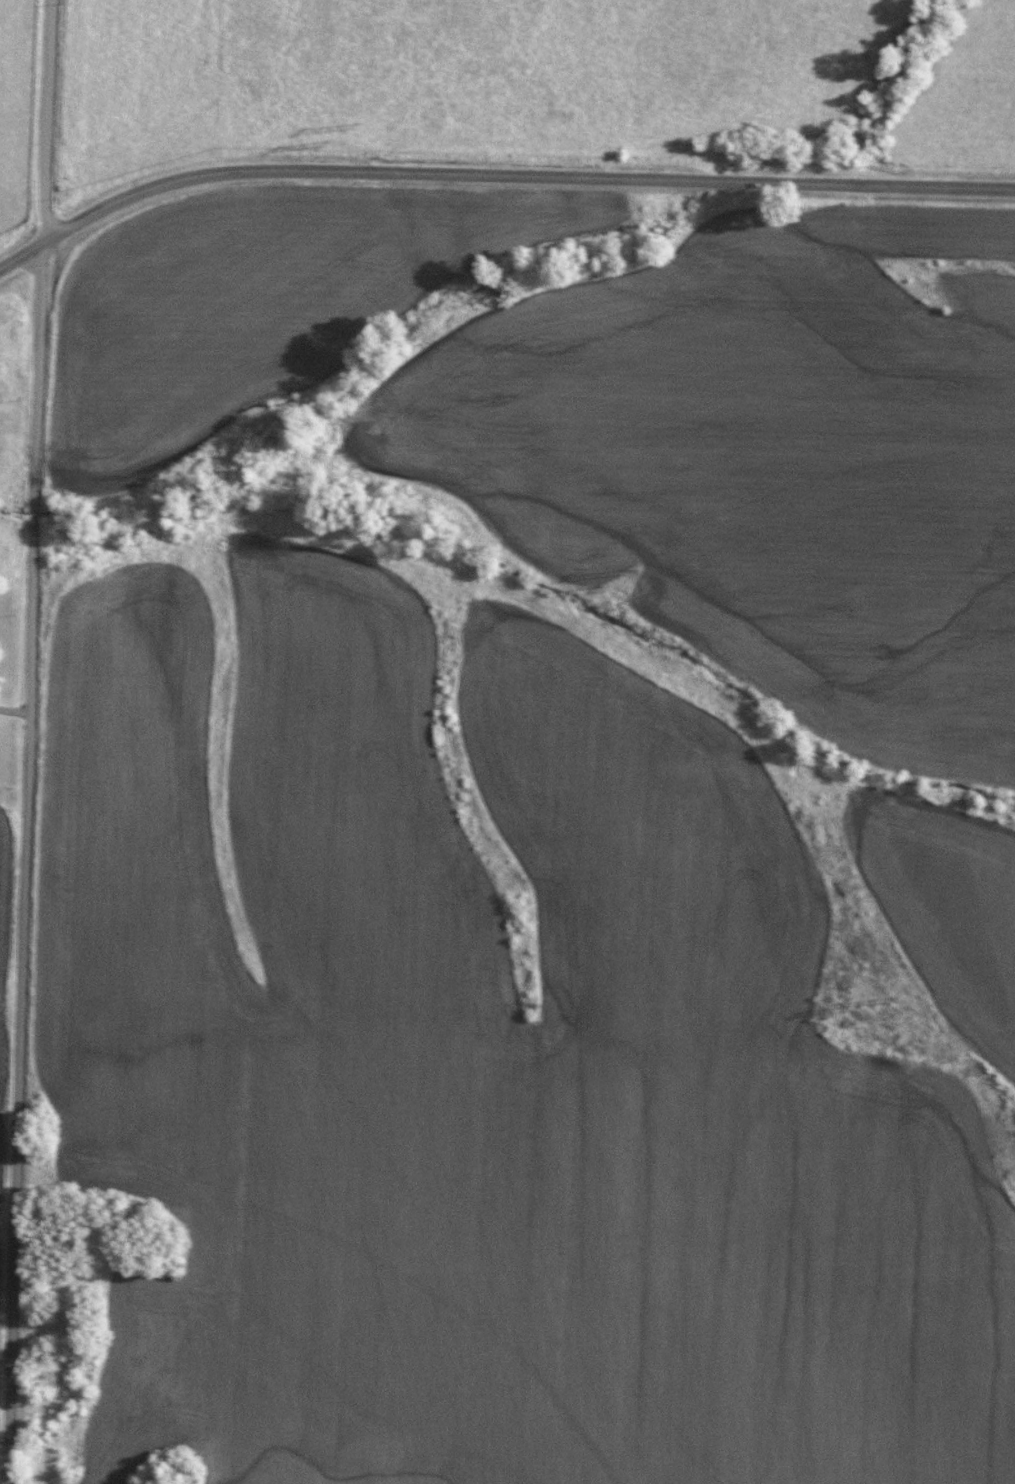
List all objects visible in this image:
road: (45, 121)
power tower: (381, 125)
power tower: (345, 142)
road: (496, 174)
power tower: (632, 567)
power tower: (602, 589)
road: (23, 862)
power tower: (894, 998)
power tower: (855, 1005)

